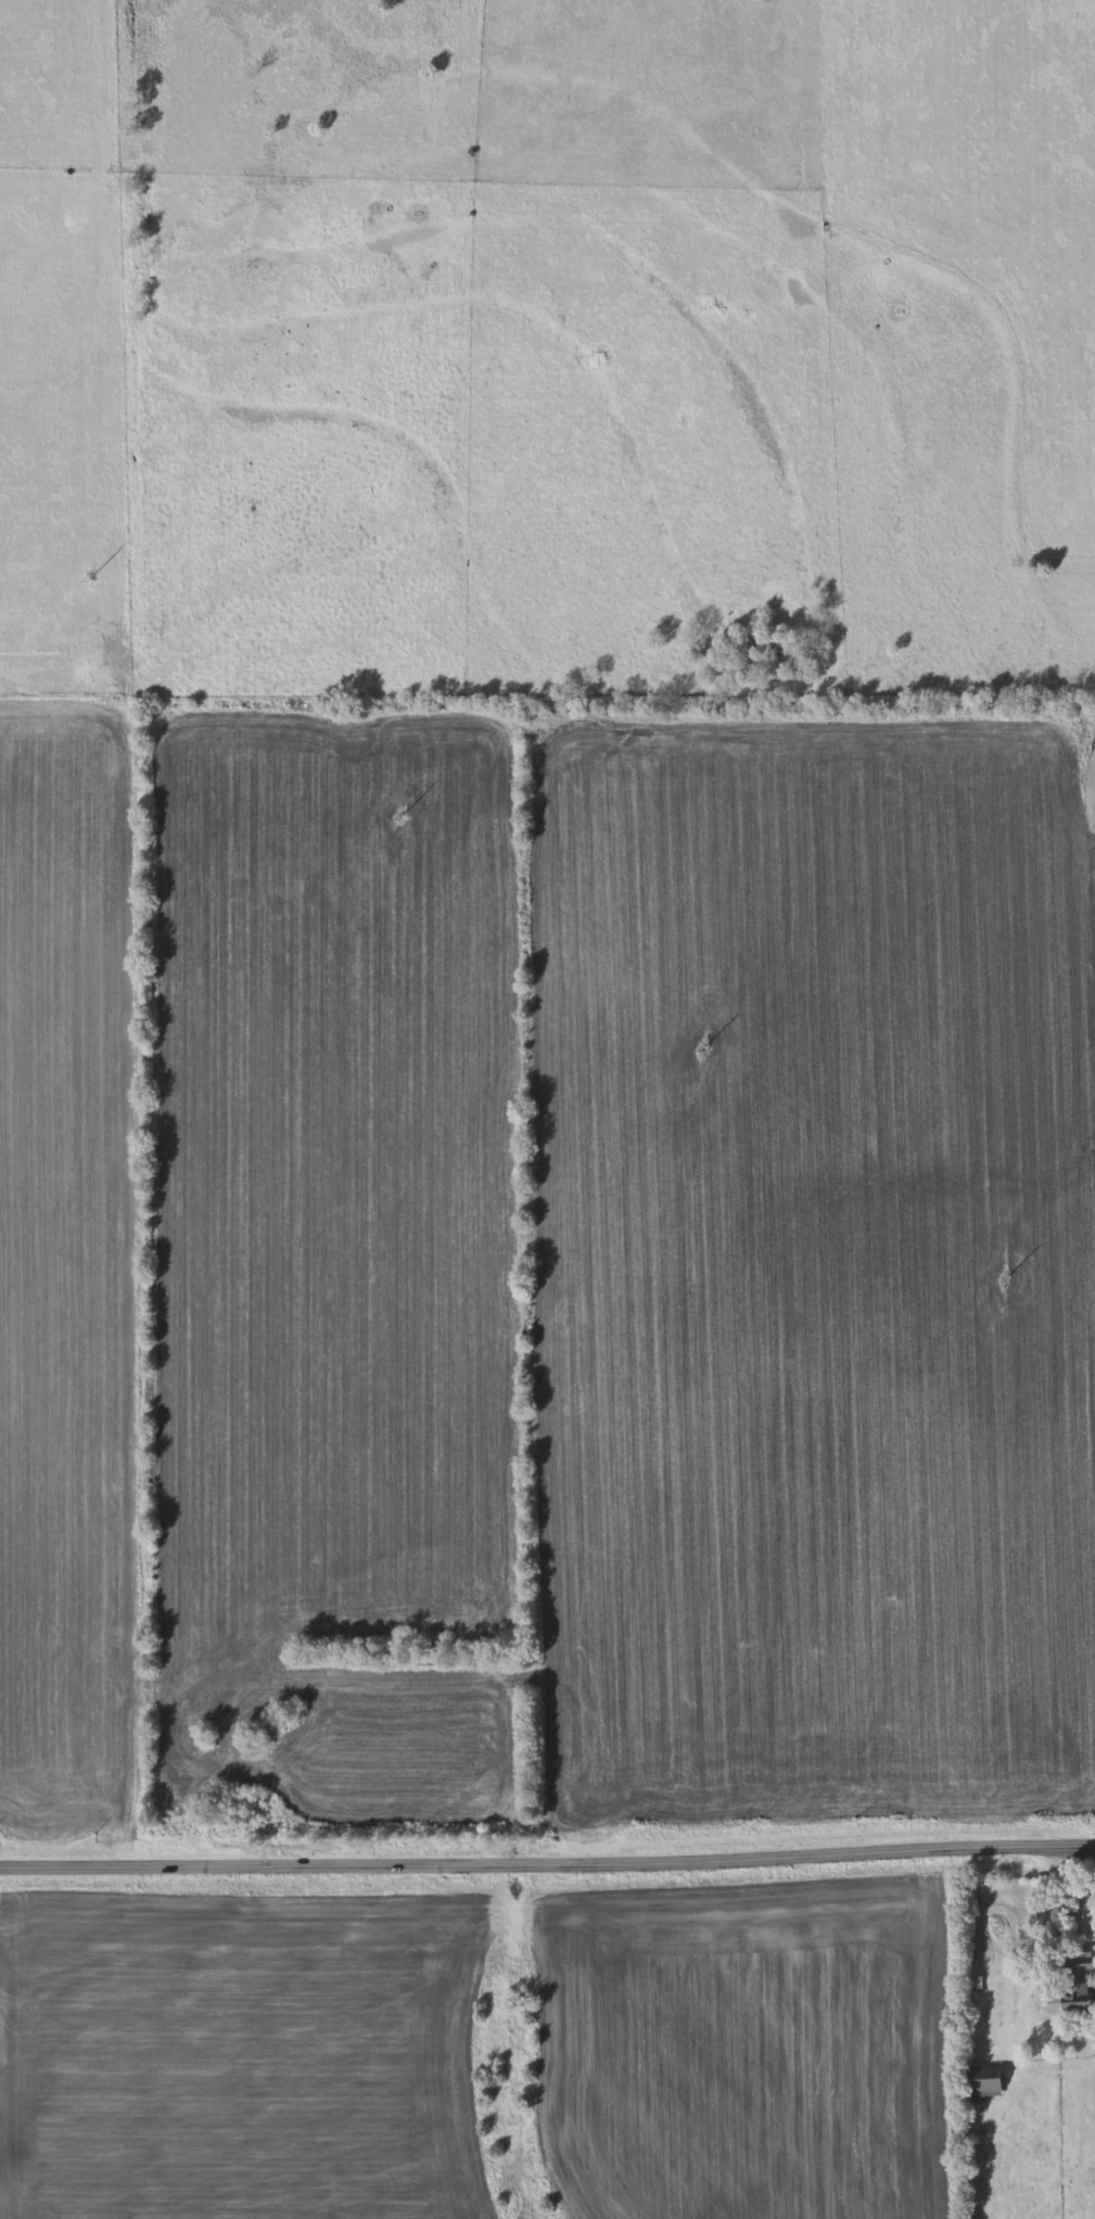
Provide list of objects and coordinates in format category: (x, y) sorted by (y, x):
power tower: (91, 576)
power tower: (403, 816)
power tower: (704, 1048)
power tower: (1005, 1280)
road: (547, 1873)
road: (1053, 1926)
building: (1077, 1985)
building: (986, 2080)

